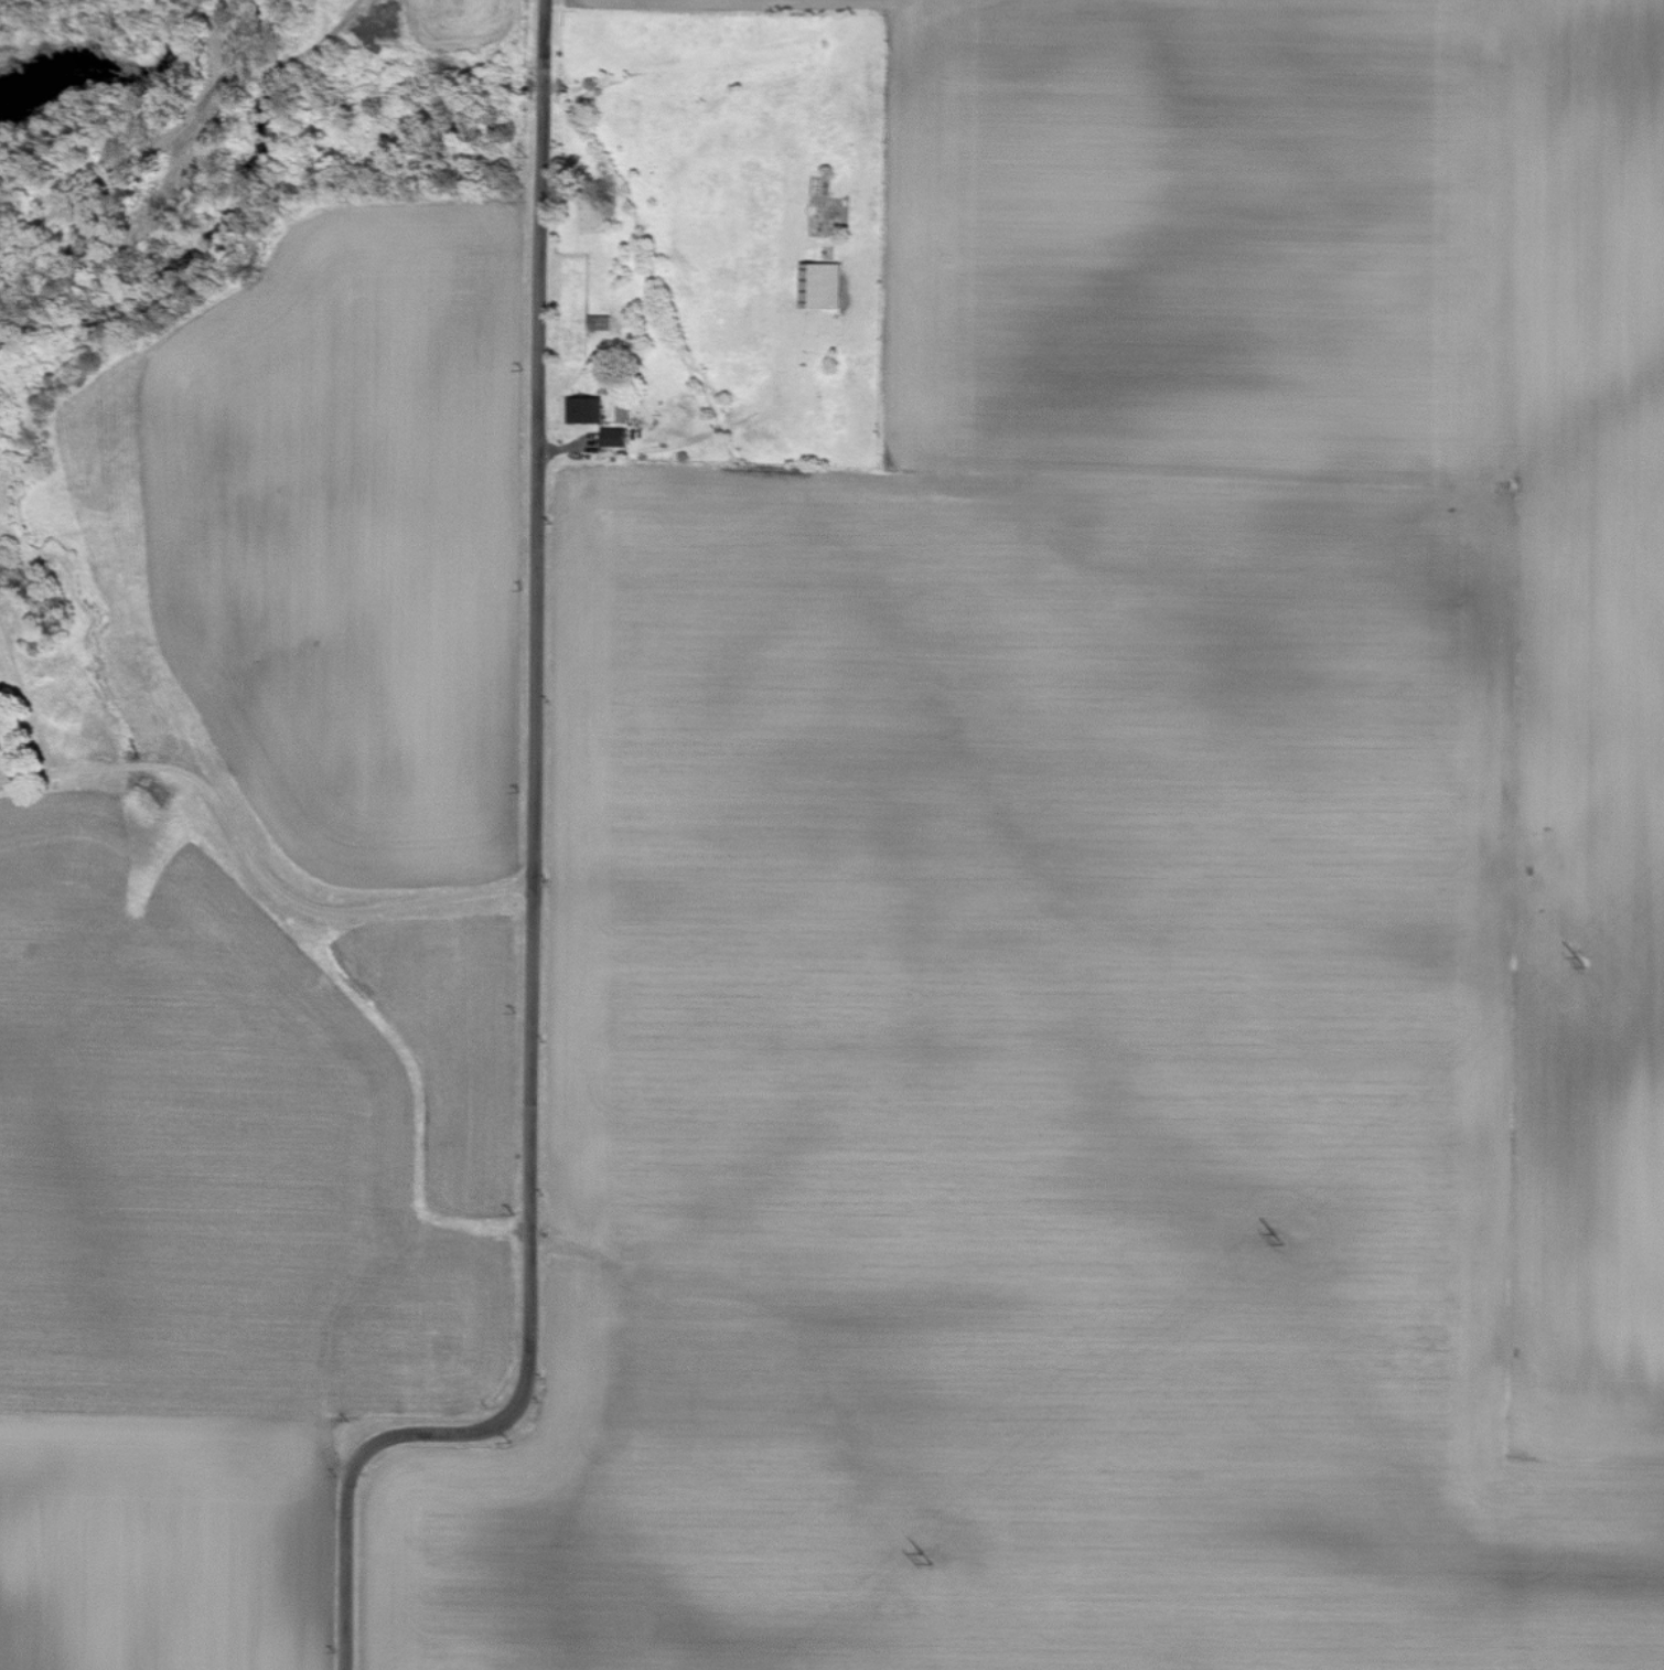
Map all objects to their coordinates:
building: (827, 285)
building: (1, 743)
road: (257, 860)
road: (535, 900)
power tower: (1582, 964)
power tower: (1280, 1242)
power tower: (934, 1559)

